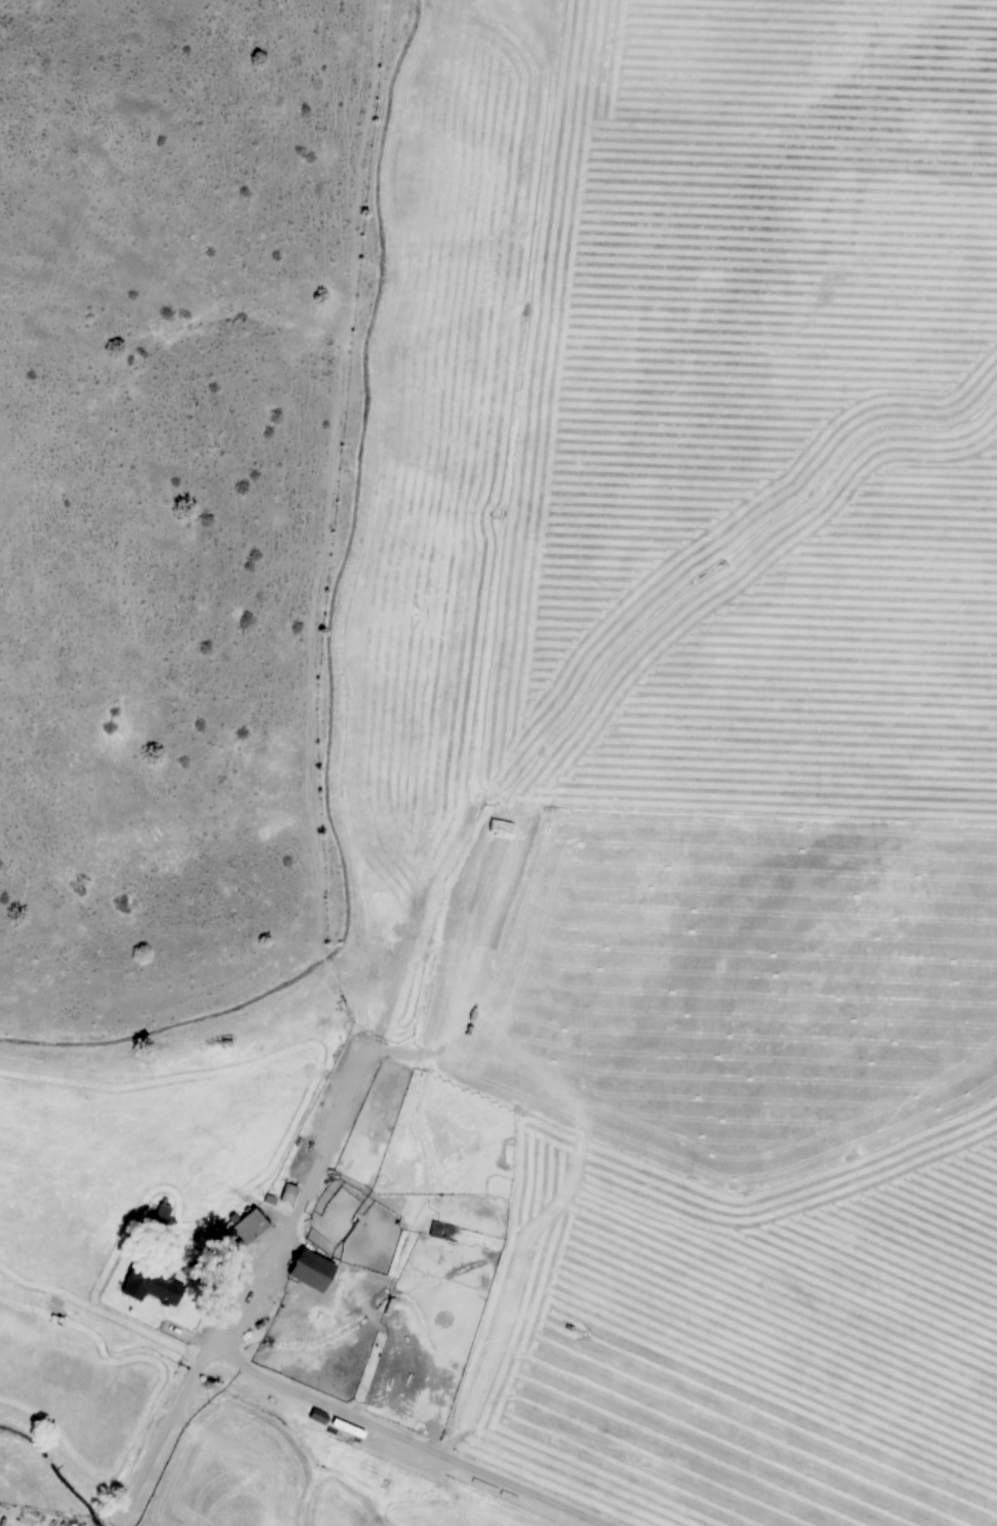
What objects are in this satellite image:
building: (289, 1192)
building: (246, 1230)
building: (442, 1230)
building: (190, 1268)
building: (314, 1271)
building: (172, 1290)
road: (321, 1395)
building: (318, 1416)

